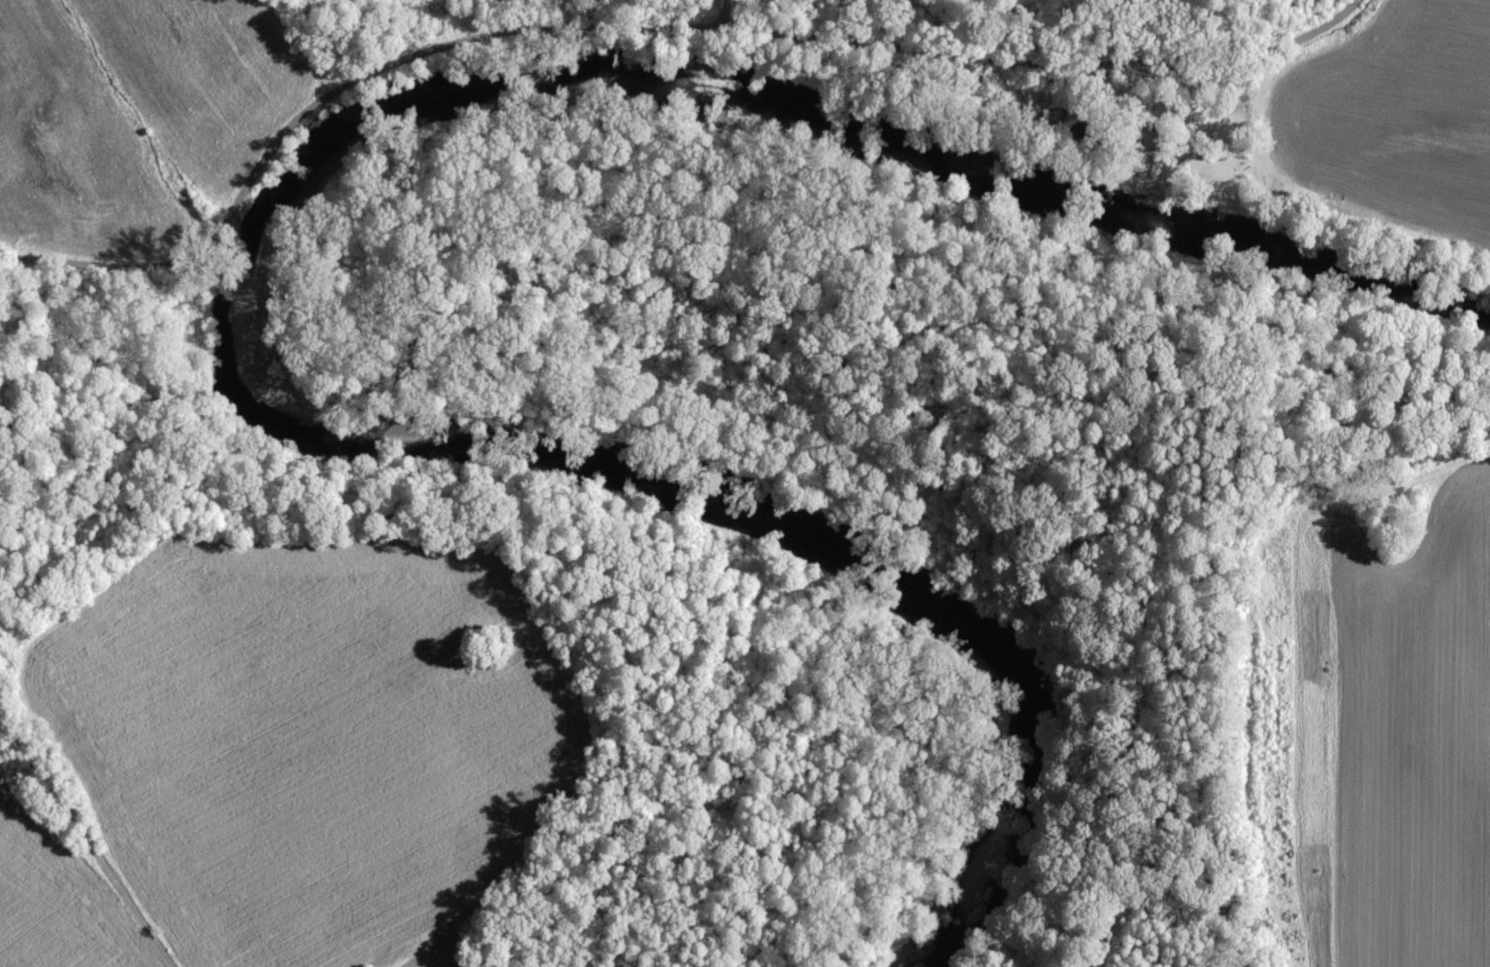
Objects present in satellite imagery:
road: (725, 37)
road: (84, 263)

